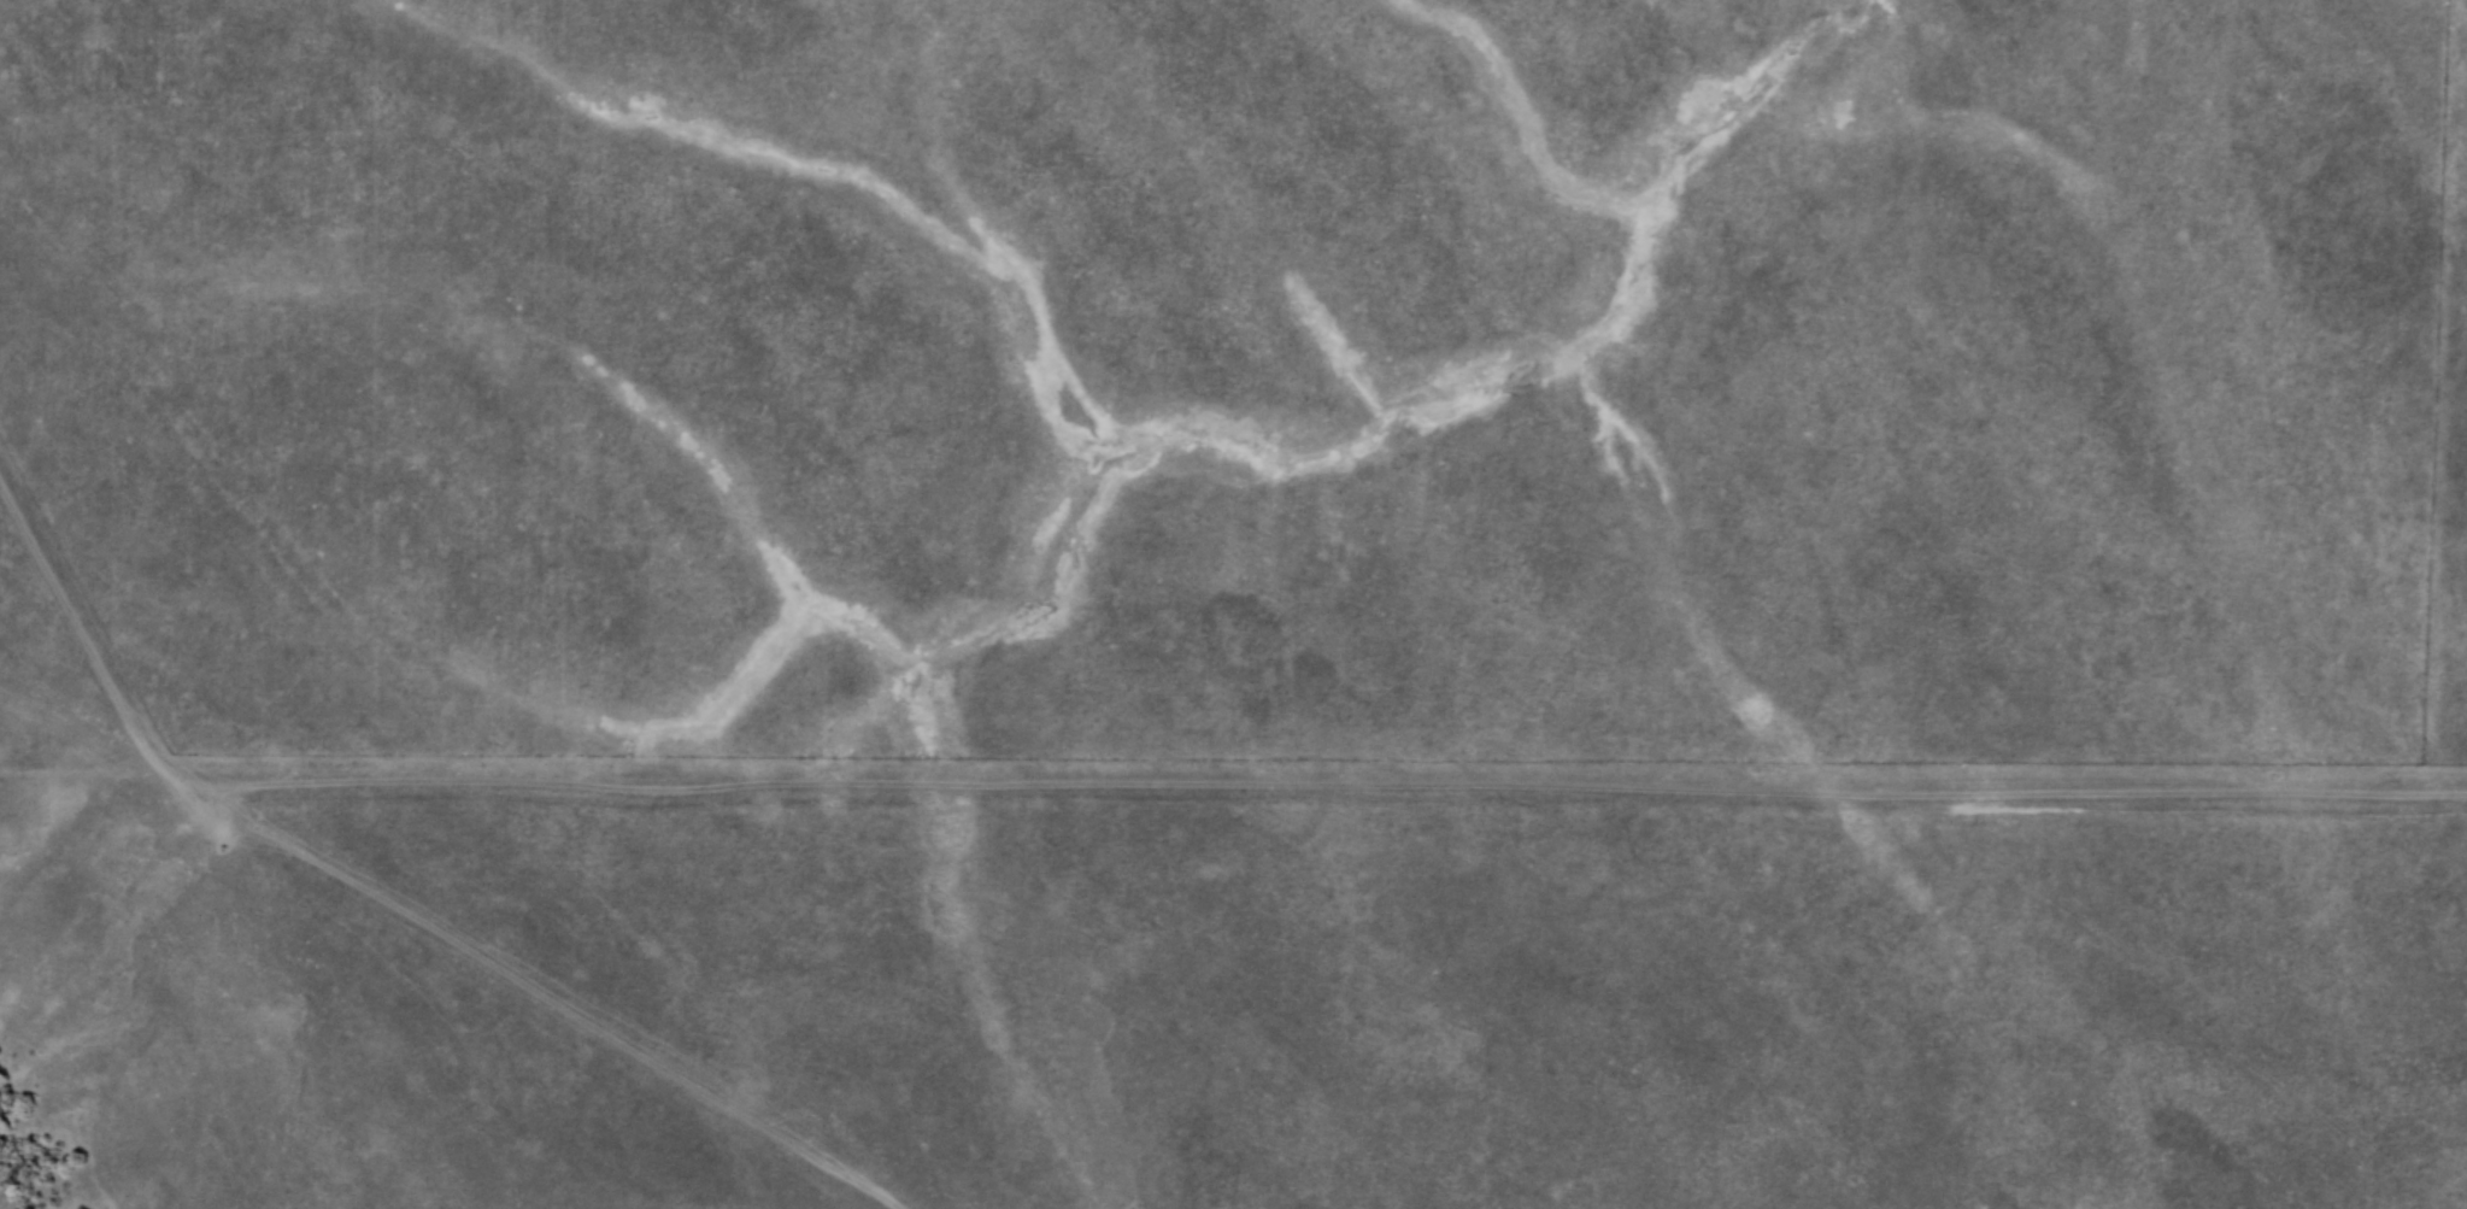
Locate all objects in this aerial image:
road: (421, 976)

